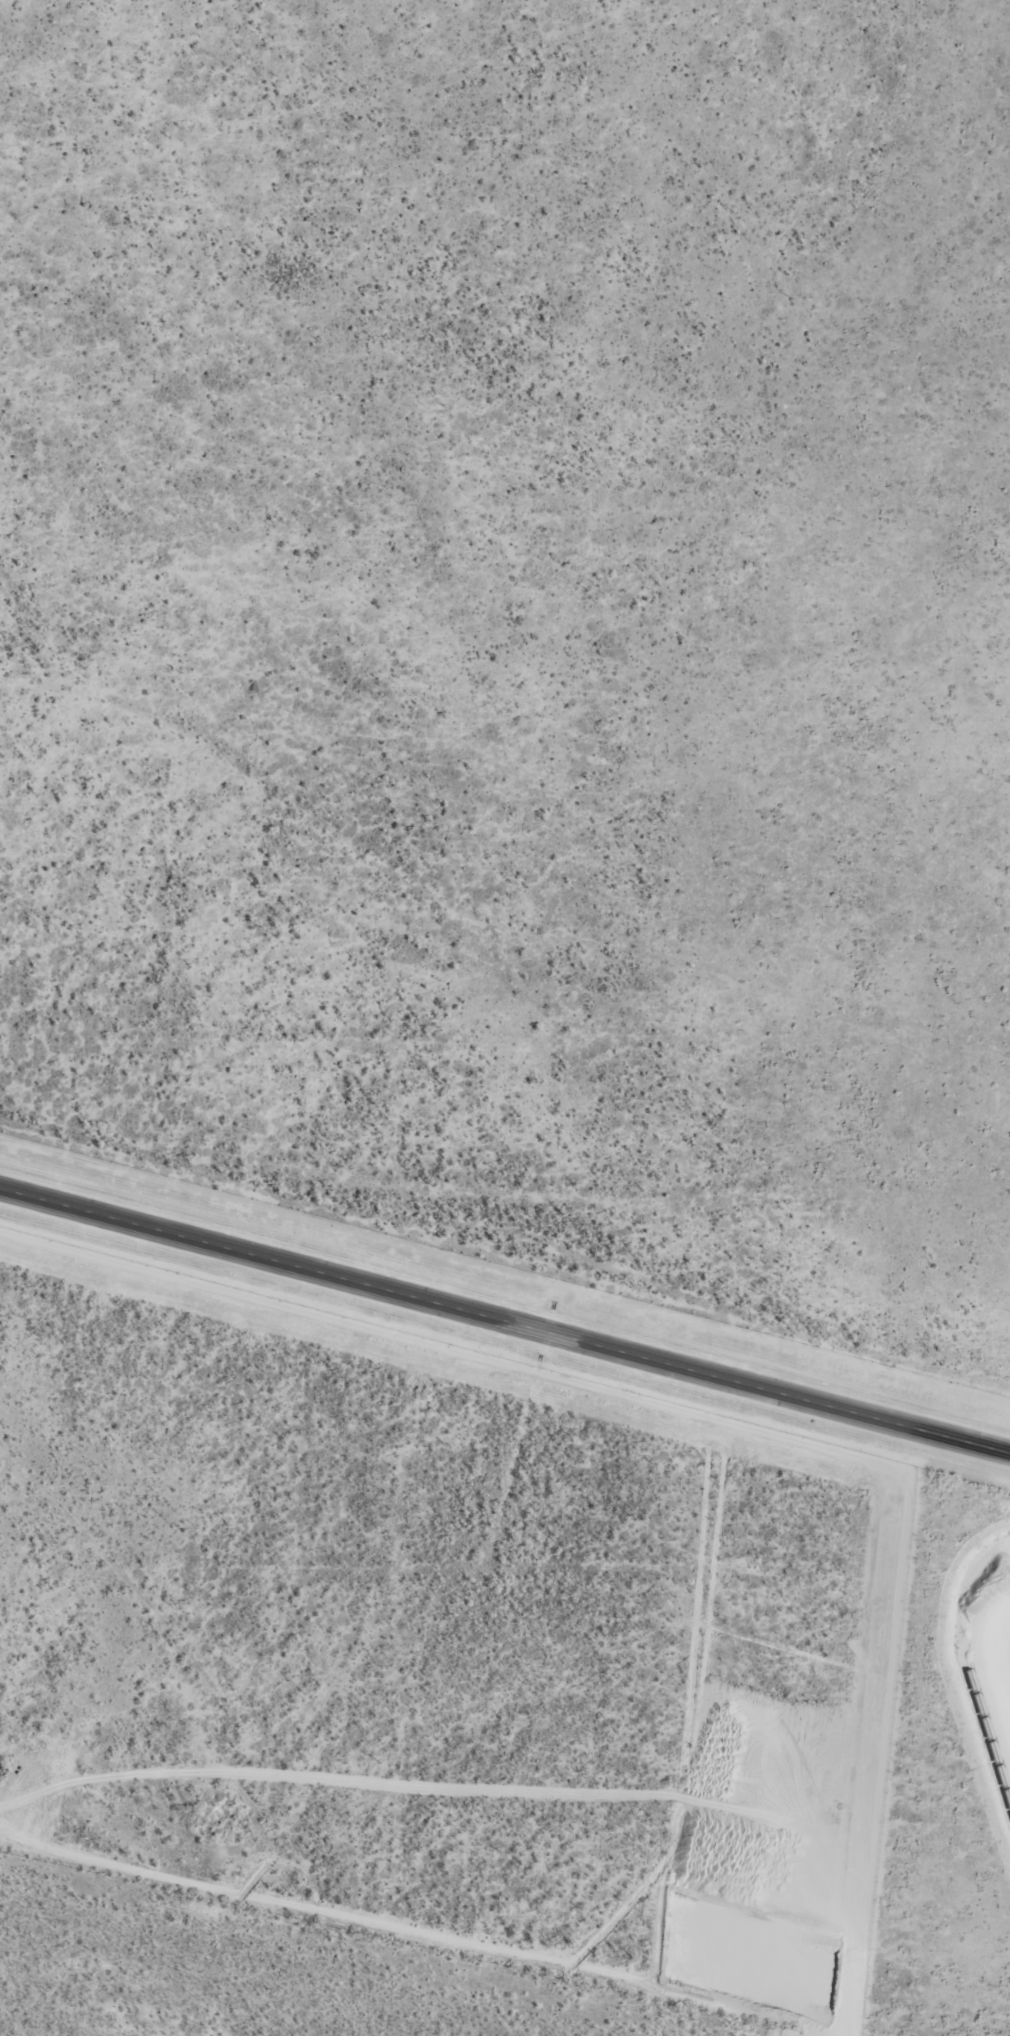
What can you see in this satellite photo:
road: (505, 1331)

